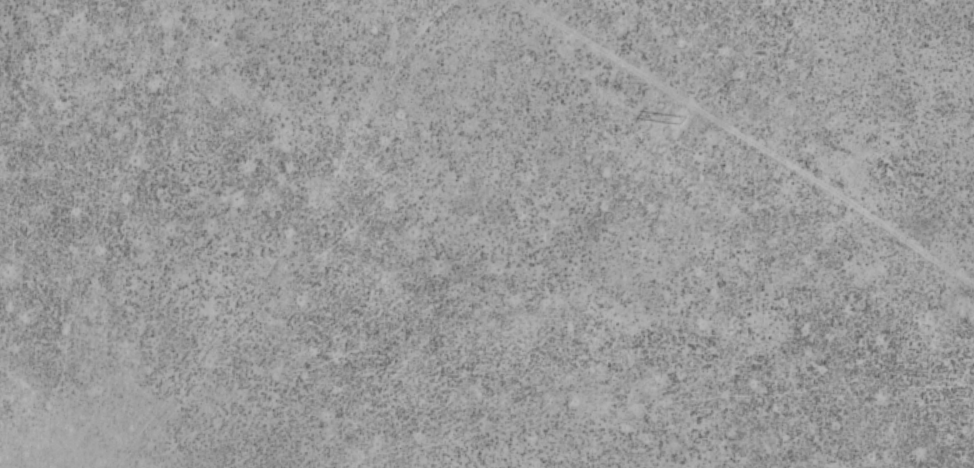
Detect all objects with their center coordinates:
power tower: (678, 118)

